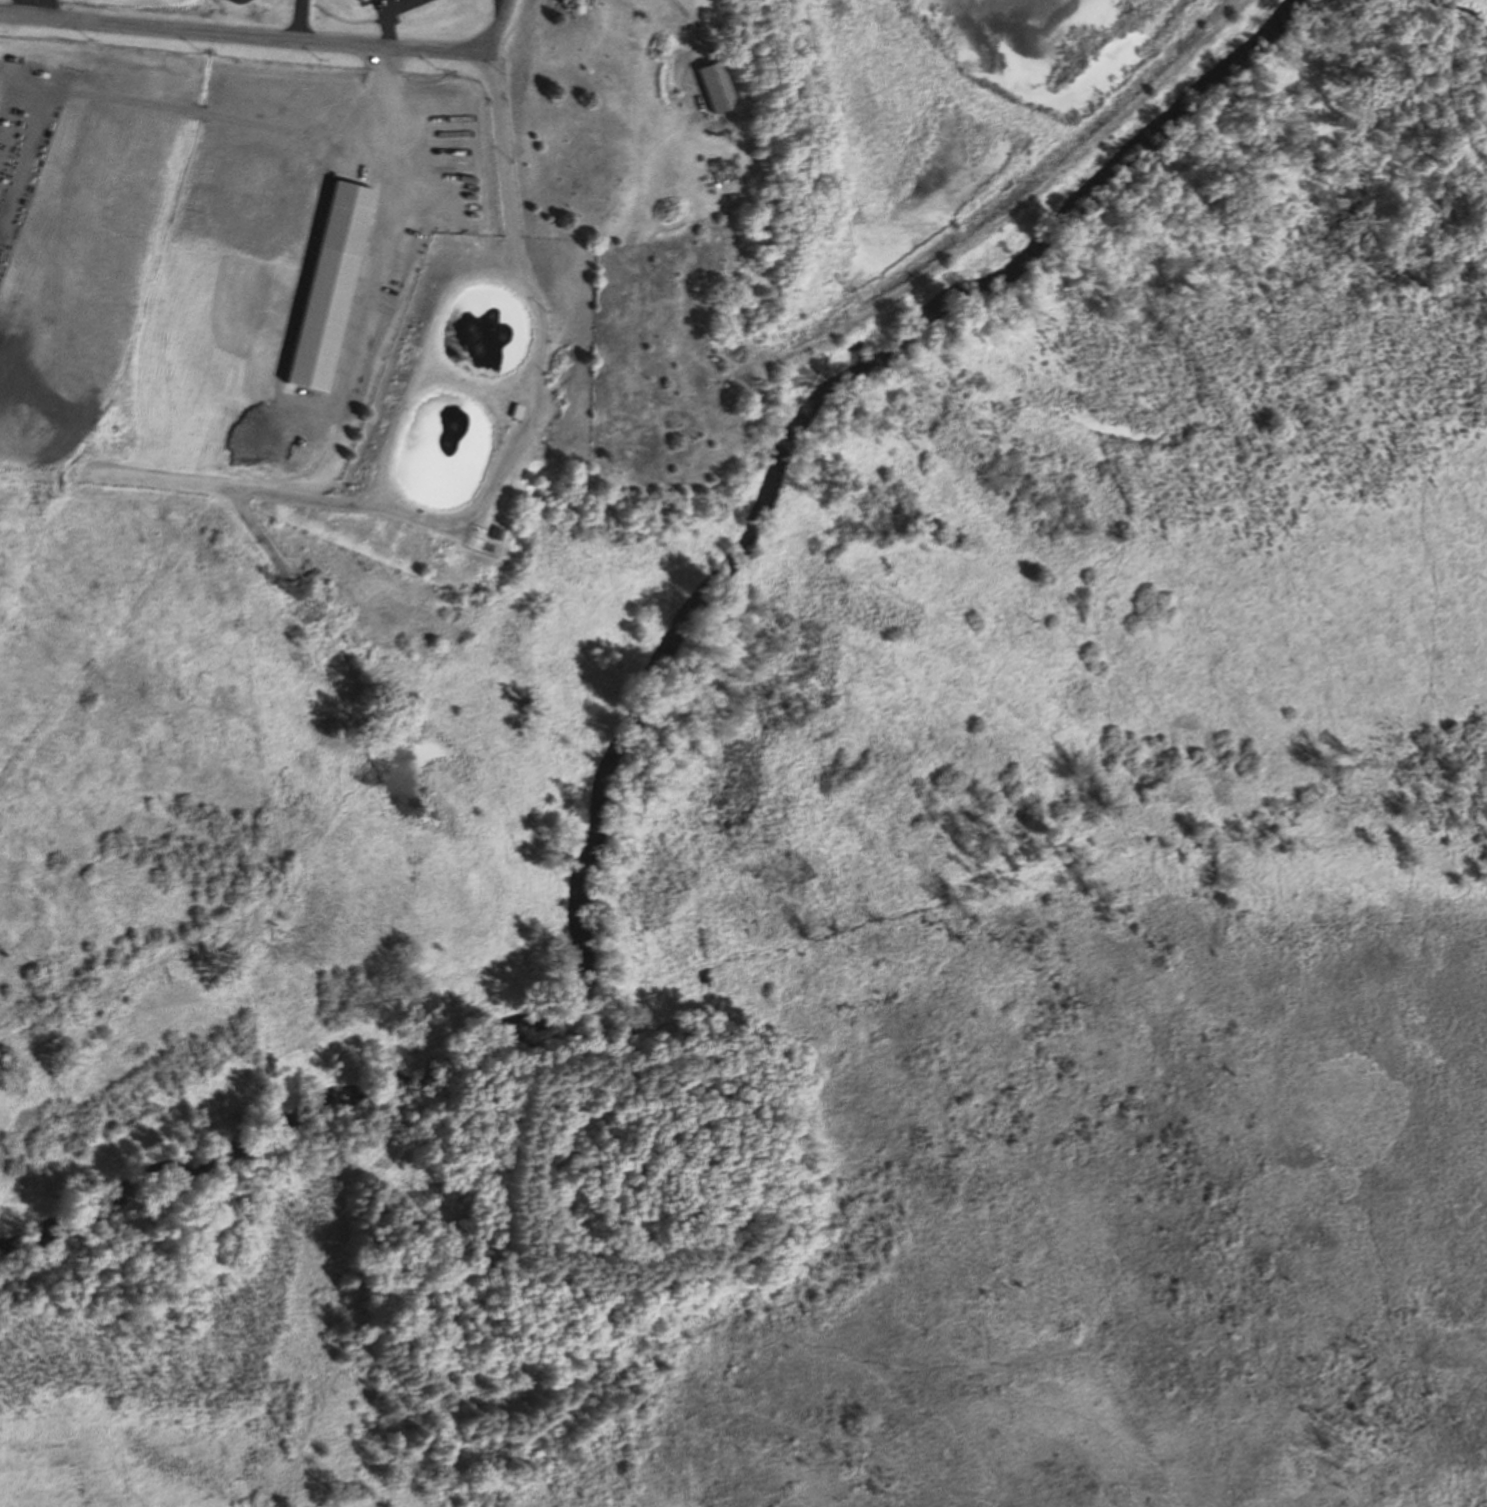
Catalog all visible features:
building: (359, 2)
road: (29, 7)
road: (684, 9)
road: (298, 20)
road: (498, 25)
road: (245, 35)
building: (712, 87)
building: (449, 226)
building: (328, 285)
road: (505, 461)
road: (120, 479)
road: (261, 1171)

